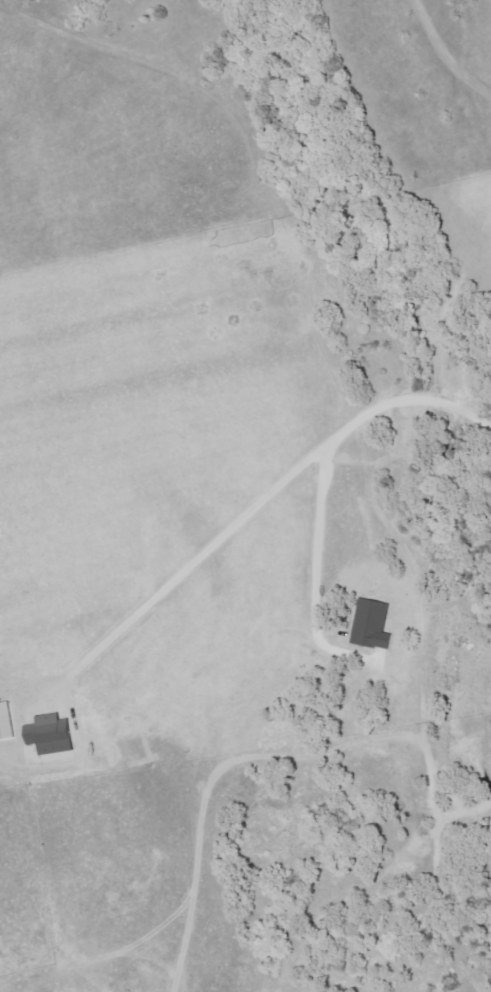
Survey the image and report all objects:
building: (373, 624)
building: (51, 735)

